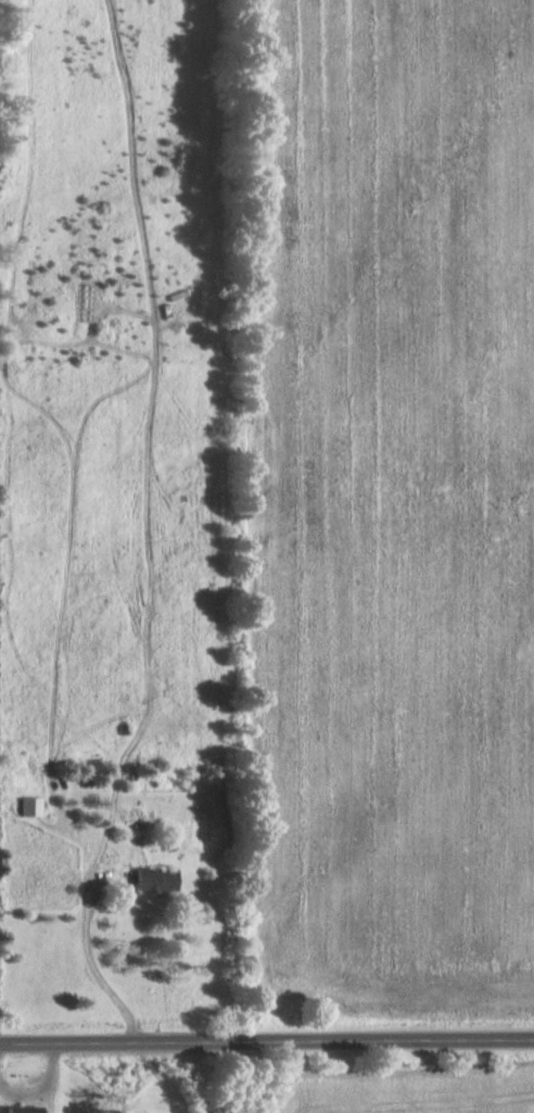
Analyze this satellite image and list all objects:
building: (28, 810)
building: (155, 883)
road: (398, 1039)
road: (131, 1042)
building: (24, 1111)

